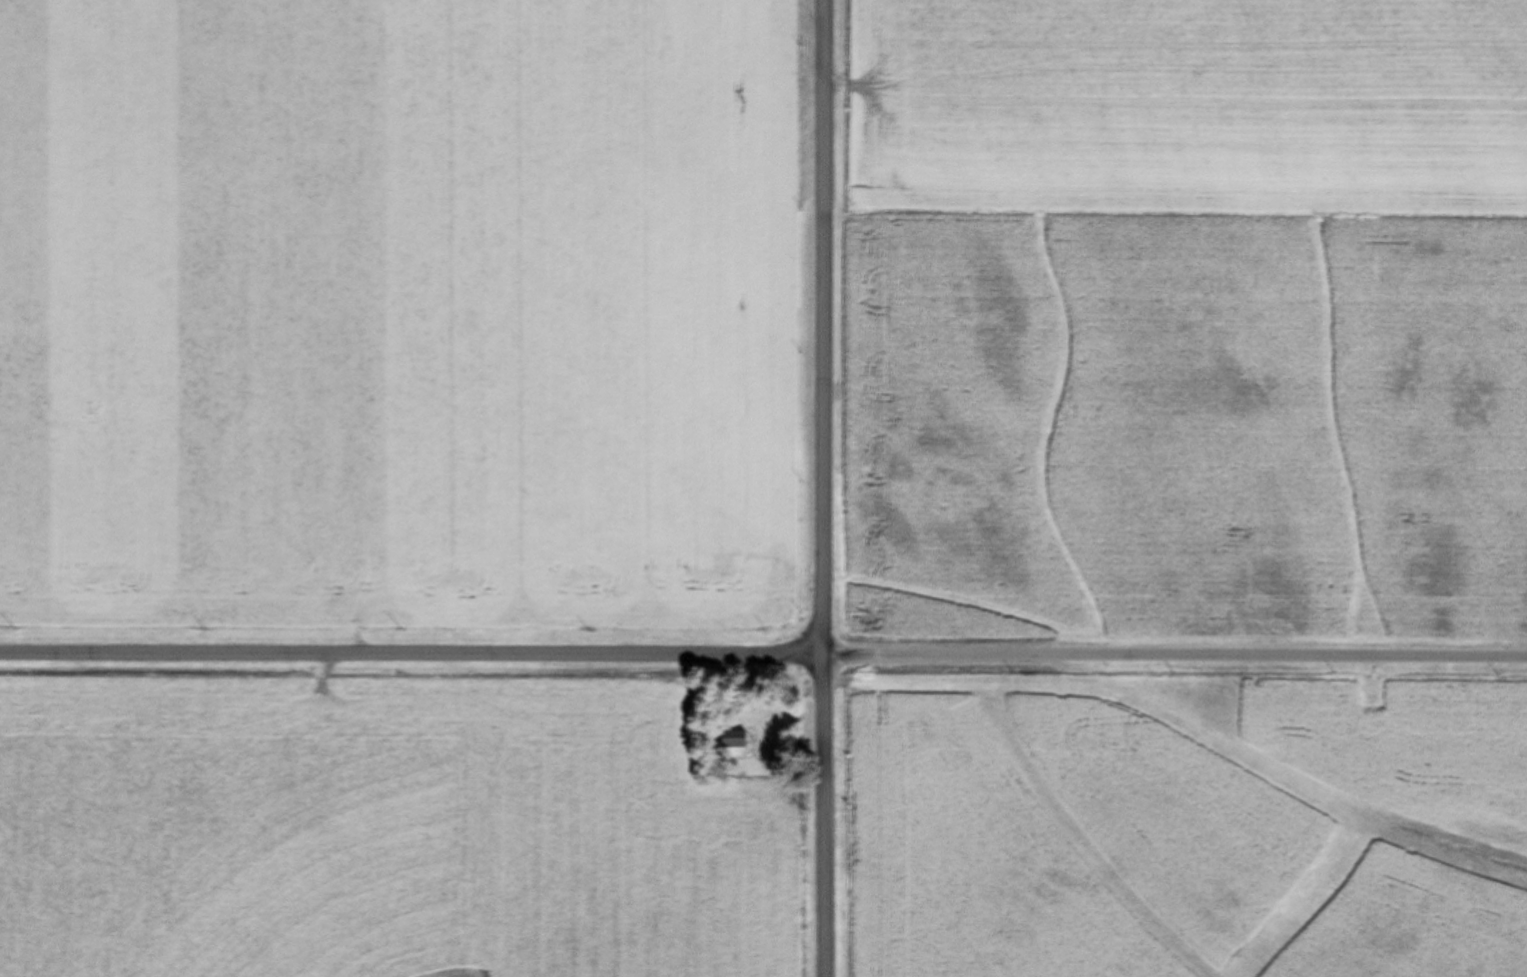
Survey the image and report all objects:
road: (811, 488)
road: (405, 650)
road: (1168, 655)
building: (735, 740)

